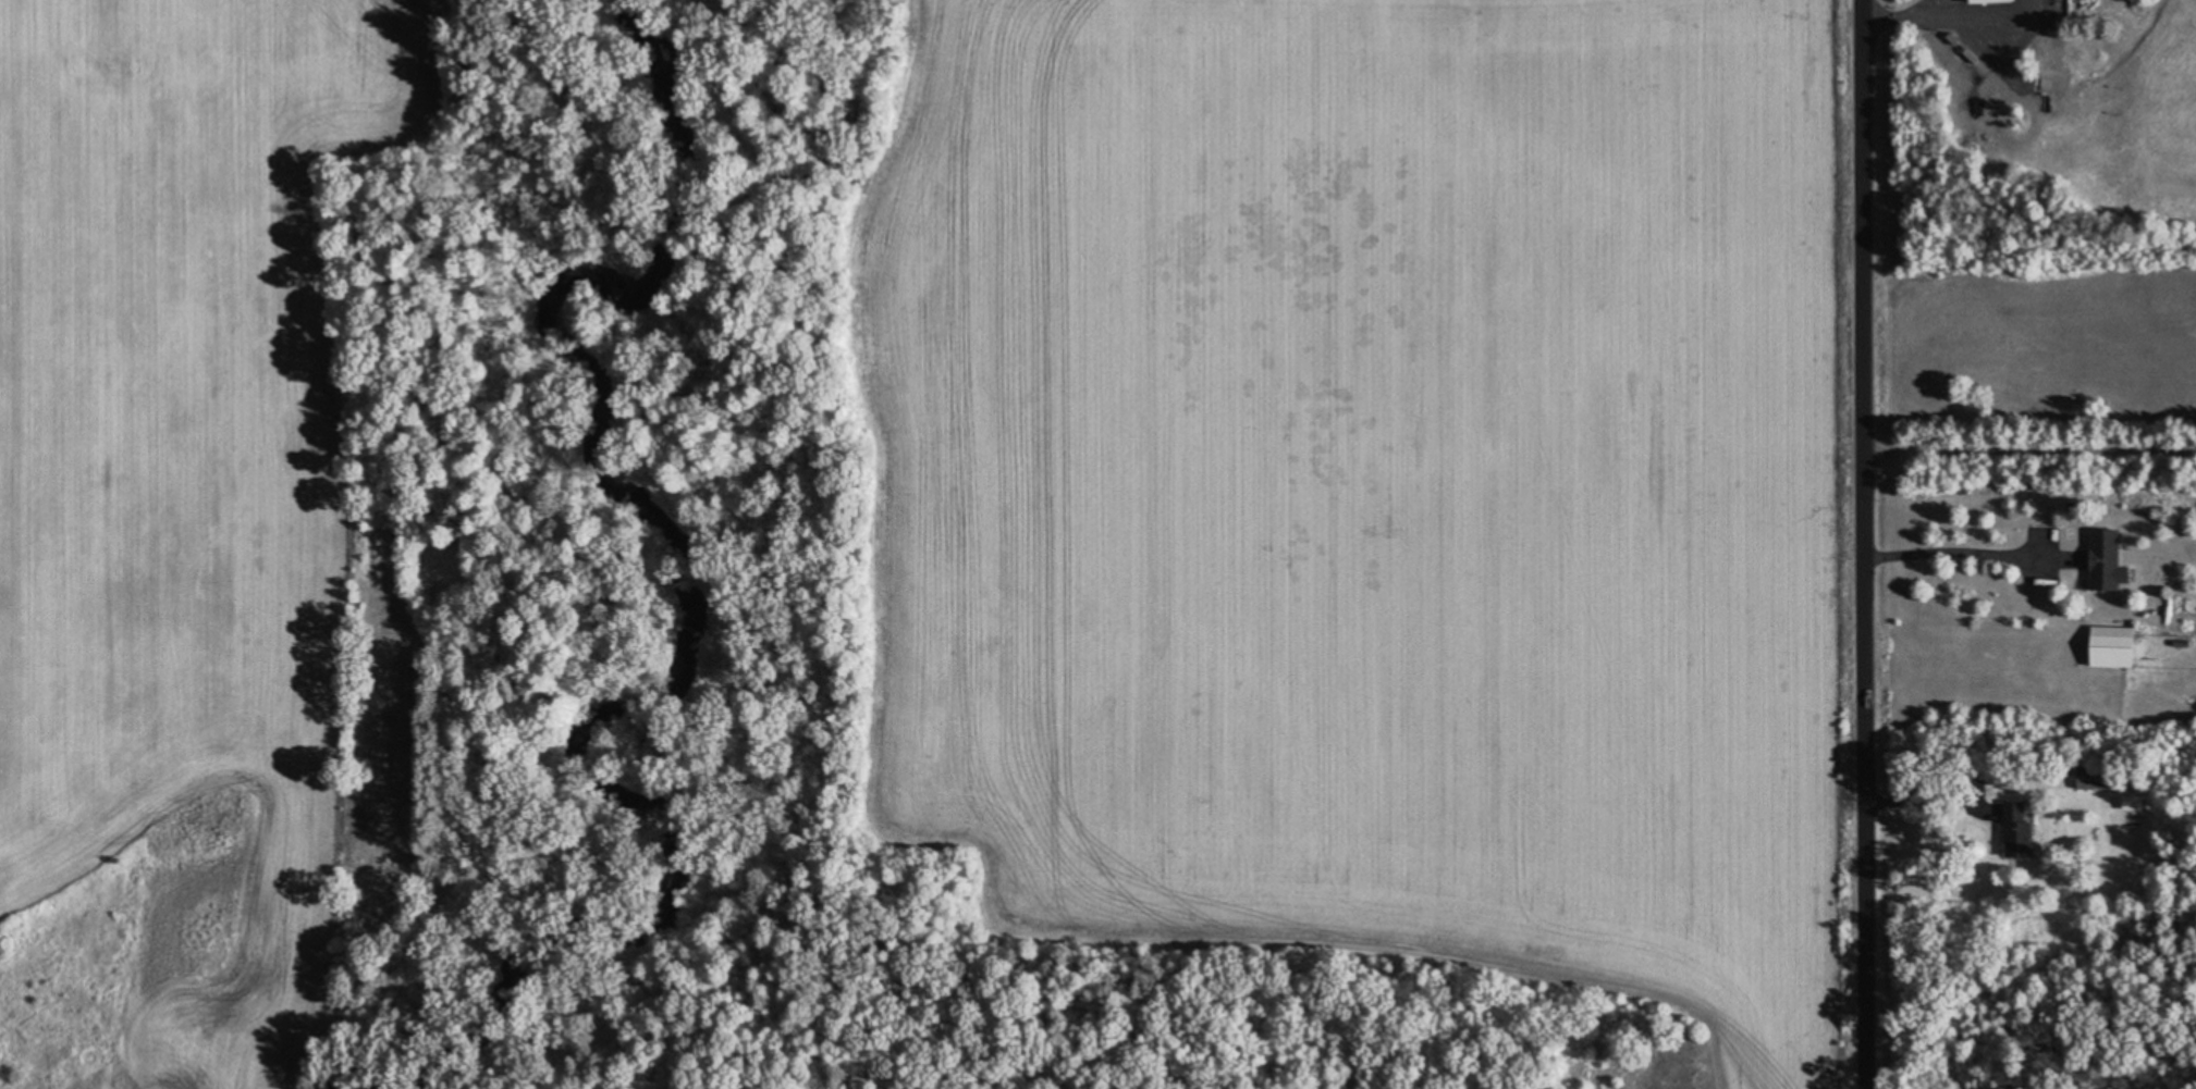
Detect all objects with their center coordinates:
building: (1985, 1)
crop: (1372, 493)
crop: (179, 521)
road: (1861, 544)
building: (2100, 560)
building: (2107, 651)
building: (2089, 778)
building: (2011, 830)

